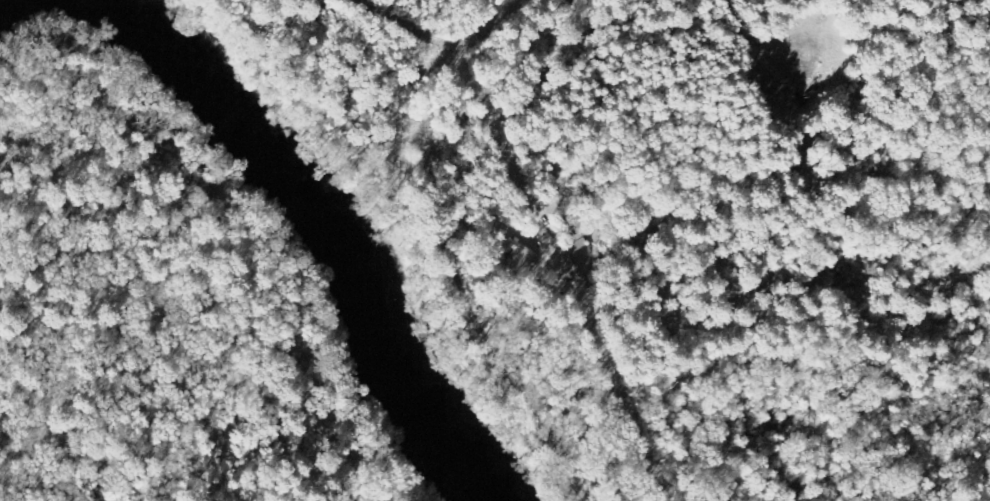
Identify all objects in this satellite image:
road: (561, 0)
river: (321, 229)
road: (554, 248)
building: (522, 257)

